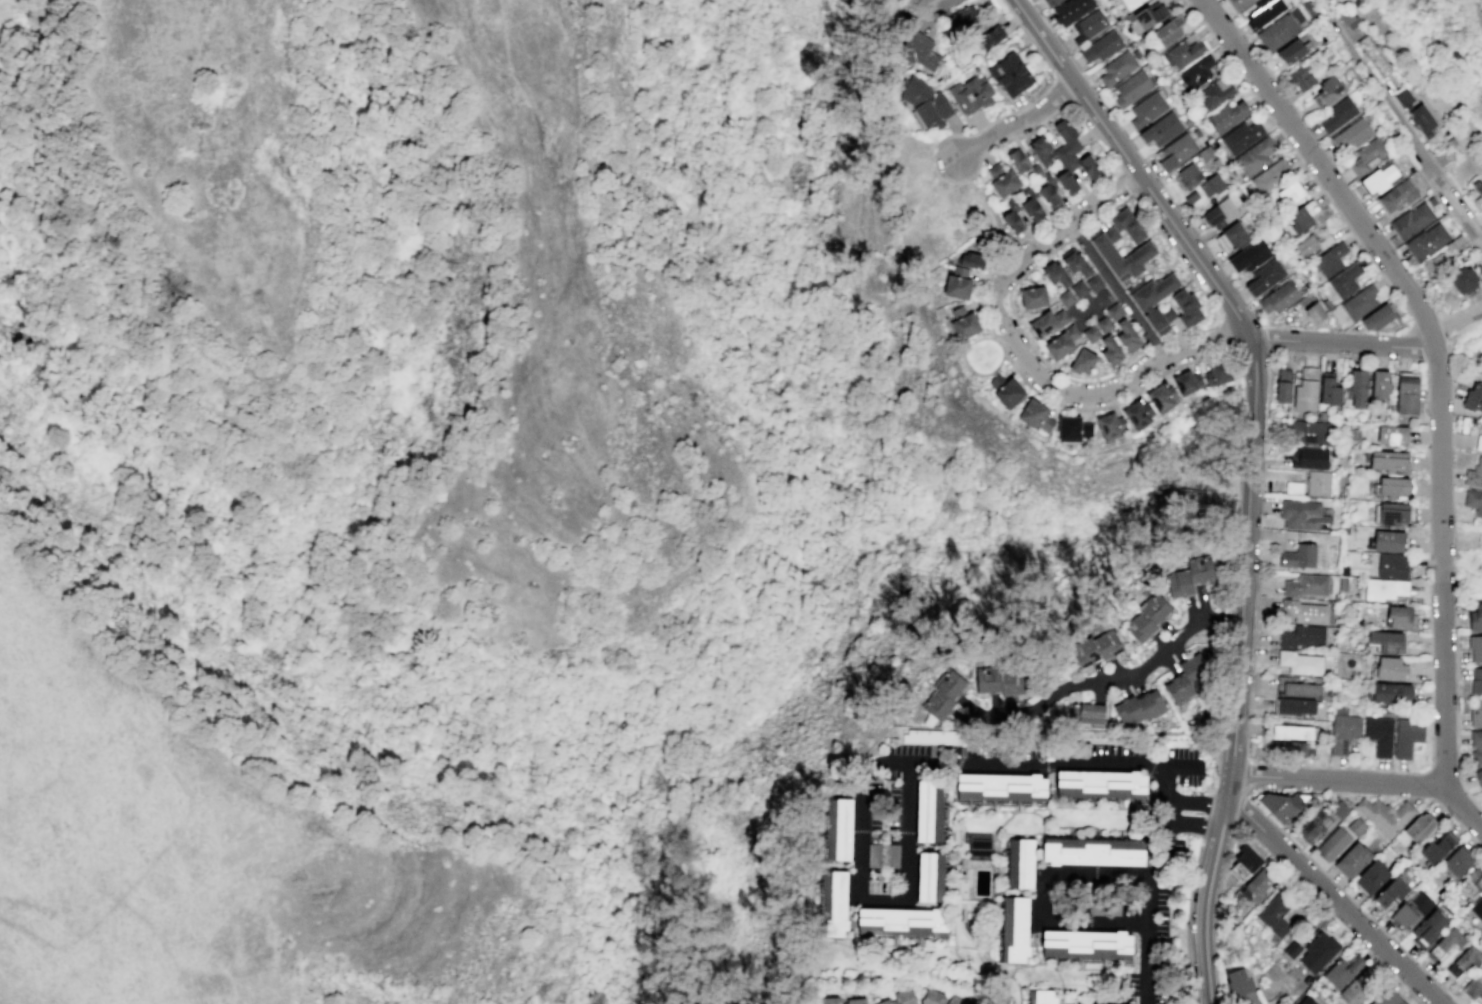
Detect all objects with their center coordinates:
building: (1049, 3)
building: (1130, 3)
building: (1238, 4)
road: (933, 10)
building: (1070, 10)
building: (1262, 12)
road: (1474, 12)
building: (1149, 15)
building: (1345, 16)
building: (961, 18)
building: (1088, 25)
building: (1169, 30)
building: (1277, 31)
building: (990, 36)
road: (1028, 36)
building: (1102, 46)
building: (919, 51)
building: (1183, 51)
building: (1292, 52)
building: (1116, 68)
building: (1196, 72)
building: (1010, 74)
road: (1375, 77)
building: (1301, 78)
building: (1131, 88)
road: (1061, 90)
building: (1327, 91)
building: (1214, 92)
building: (971, 94)
building: (1404, 97)
building: (924, 102)
building: (1147, 109)
building: (1338, 114)
building: (1226, 116)
building: (1423, 119)
road: (1017, 122)
building: (1160, 130)
road: (972, 133)
building: (1352, 133)
building: (1241, 136)
road: (1098, 143)
building: (1040, 150)
building: (1174, 152)
building: (1206, 153)
building: (1255, 156)
road: (1298, 156)
building: (1367, 156)
building: (1071, 158)
building: (1018, 161)
building: (1188, 175)
building: (1271, 177)
building: (1380, 177)
building: (1002, 180)
road: (1126, 182)
road: (1144, 185)
building: (1212, 185)
building: (1477, 187)
building: (1291, 193)
road: (1445, 193)
building: (1049, 194)
building: (1398, 195)
building: (1190, 197)
building: (1032, 209)
building: (1220, 212)
road: (989, 215)
building: (1302, 217)
park: (991, 218)
building: (1410, 220)
building: (1012, 221)
building: (1234, 235)
building: (1426, 241)
building: (1101, 243)
building: (1307, 244)
road: (1176, 253)
building: (1249, 255)
building: (1330, 259)
building: (971, 260)
building: (1076, 264)
building: (1437, 265)
building: (1056, 274)
building: (1265, 277)
building: (1344, 280)
building: (1463, 280)
building: (1481, 280)
building: (1093, 282)
building: (957, 283)
building: (1078, 288)
road: (1117, 291)
building: (1033, 297)
building: (1279, 297)
building: (1065, 298)
building: (1307, 300)
building: (1155, 301)
road: (1094, 303)
building: (1359, 303)
building: (1326, 304)
building: (1186, 308)
building: (1114, 311)
building: (1315, 313)
road: (1014, 315)
building: (1379, 318)
road: (1456, 320)
building: (962, 322)
building: (1047, 322)
building: (1103, 324)
road: (1192, 331)
building: (1090, 333)
building: (1127, 335)
road: (1227, 335)
road: (1267, 338)
building: (1061, 342)
road: (1155, 344)
road: (1344, 344)
building: (1110, 350)
road: (965, 351)
road: (1023, 354)
park: (985, 355)
building: (1082, 361)
road: (1177, 365)
building: (1217, 373)
building: (1186, 383)
road: (1439, 383)
building: (1380, 384)
building: (1283, 386)
building: (1358, 387)
building: (1004, 389)
building: (1306, 389)
building: (1329, 389)
building: (1407, 393)
building: (1161, 398)
building: (1473, 398)
road: (1426, 408)
building: (1137, 414)
building: (1322, 414)
building: (1035, 415)
building: (1110, 426)
building: (1072, 428)
building: (1312, 431)
building: (1392, 435)
building: (1478, 442)
building: (1308, 457)
building: (1390, 461)
building: (1474, 474)
building: (1318, 482)
building: (1293, 487)
building: (1395, 487)
building: (1473, 501)
building: (1393, 513)
building: (1305, 514)
building: (1388, 540)
building: (1299, 556)
building: (1392, 566)
building: (1344, 570)
road: (1245, 575)
building: (1191, 576)
building: (1342, 583)
building: (1306, 584)
building: (1384, 589)
building: (1303, 611)
road: (1230, 617)
building: (1476, 617)
building: (1146, 618)
building: (1400, 618)
building: (1302, 636)
building: (1386, 641)
building: (1475, 647)
building: (1095, 648)
building: (1300, 662)
road: (108, 664)
building: (1390, 668)
road: (1129, 676)
building: (999, 681)
building: (1476, 681)
building: (1297, 687)
building: (1178, 689)
road: (100, 692)
building: (1390, 692)
building: (943, 694)
building: (1295, 705)
building: (1141, 706)
road: (1222, 712)
road: (1456, 712)
building: (1091, 713)
building: (1476, 713)
building: (1343, 729)
building: (1293, 732)
building: (1378, 734)
building: (931, 736)
building: (1406, 736)
building: (1476, 745)
building: (1292, 748)
road: (1234, 760)
road: (1248, 760)
road: (877, 764)
road: (1182, 765)
building: (1479, 776)
road: (1247, 777)
road: (1340, 780)
building: (1101, 784)
road: (1428, 784)
building: (1002, 786)
road: (206, 788)
road: (1418, 797)
road: (1199, 804)
building: (1281, 804)
building: (1339, 810)
building: (929, 811)
road: (1172, 813)
road: (1206, 814)
building: (1385, 815)
road: (1197, 823)
building: (1314, 826)
building: (1356, 826)
building: (1419, 827)
building: (838, 829)
parking lot: (884, 831)
road: (103, 838)
building: (1333, 843)
building: (979, 846)
building: (1437, 847)
building: (1093, 850)
building: (873, 855)
building: (892, 855)
building: (1352, 859)
building: (1244, 861)
building: (1455, 862)
building: (1020, 863)
building: (931, 877)
building: (1372, 878)
building: (1472, 881)
building: (1258, 885)
road: (1208, 887)
building: (1391, 892)
road: (1334, 897)
road: (1349, 898)
road: (1151, 900)
building: (833, 903)
road: (1042, 905)
building: (1412, 907)
building: (1477, 907)
road: (110, 908)
building: (1278, 915)
road: (1187, 917)
building: (902, 921)
building: (1428, 927)
building: (1015, 929)
building: (1087, 943)
building: (1445, 943)
building: (1290, 950)
building: (1319, 952)
building: (1463, 961)
building: (1341, 971)
building: (1238, 982)
building: (1359, 987)
building: (1472, 989)
building: (903, 996)
building: (932, 997)
building: (1042, 997)
building: (1387, 998)
road: (1254, 999)
building: (957, 1000)
building: (882, 1001)
building: (1306, 1001)
building: (832, 1002)
building: (857, 1002)
road: (1278, 1002)
building: (1069, 1003)

